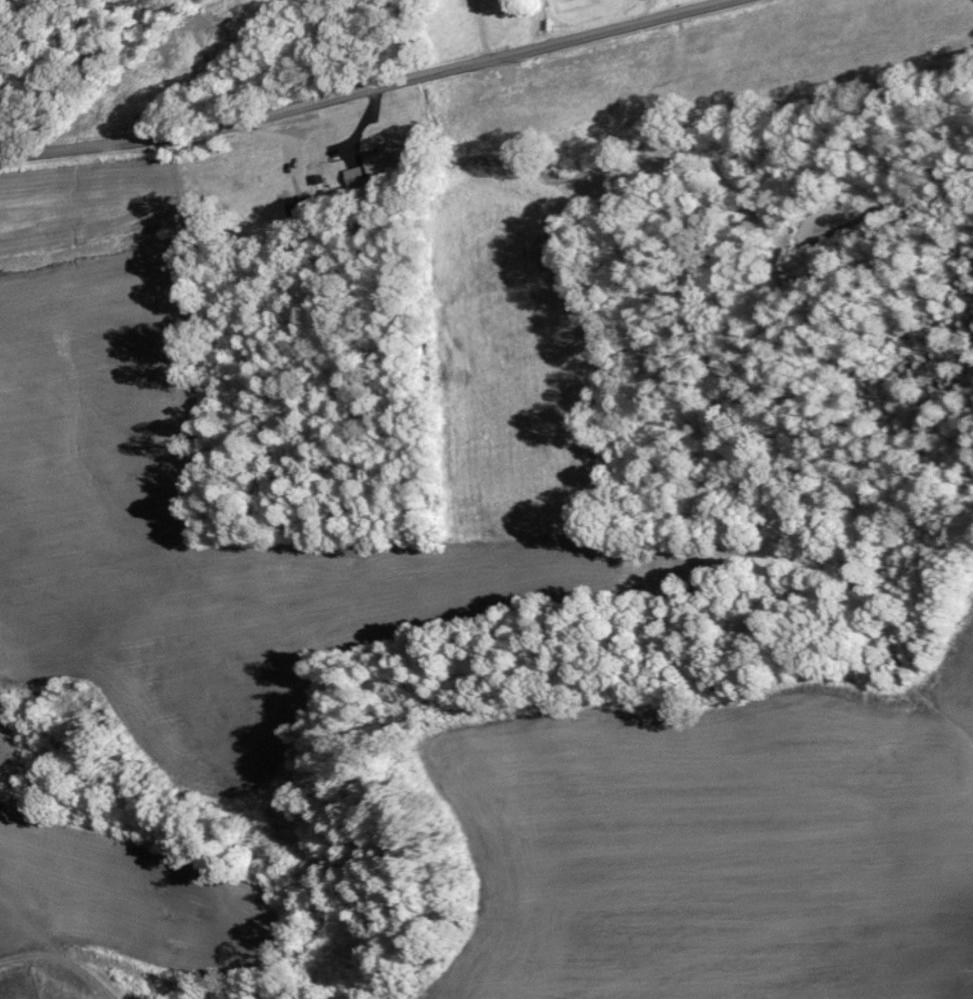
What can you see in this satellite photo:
building: (507, 13)
road: (360, 88)
building: (575, 131)
building: (384, 160)

